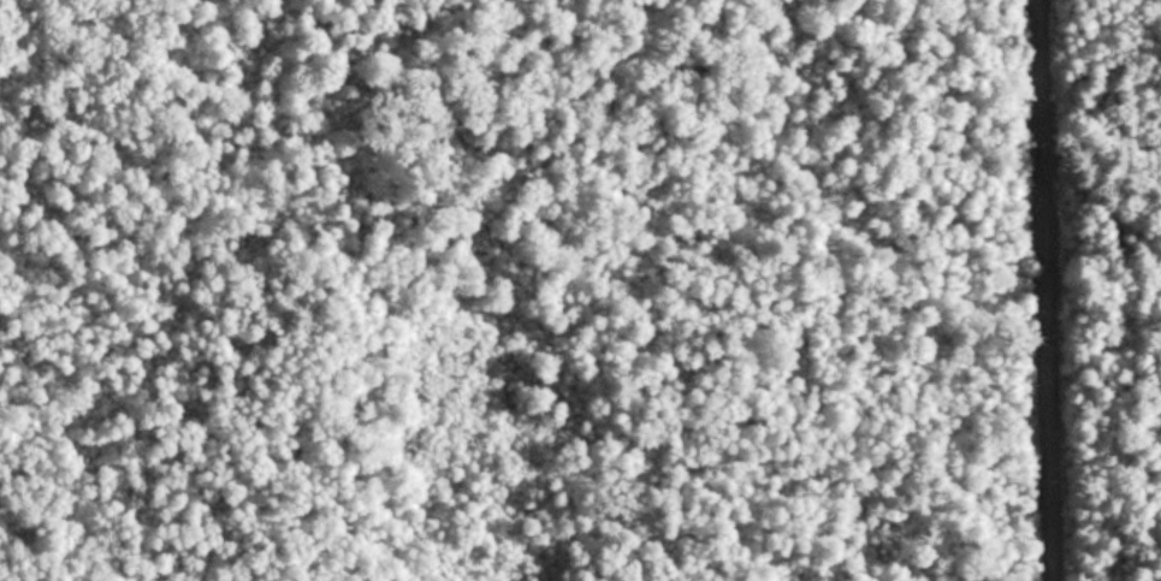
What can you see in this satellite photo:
park: (580, 290)
road: (1038, 290)

